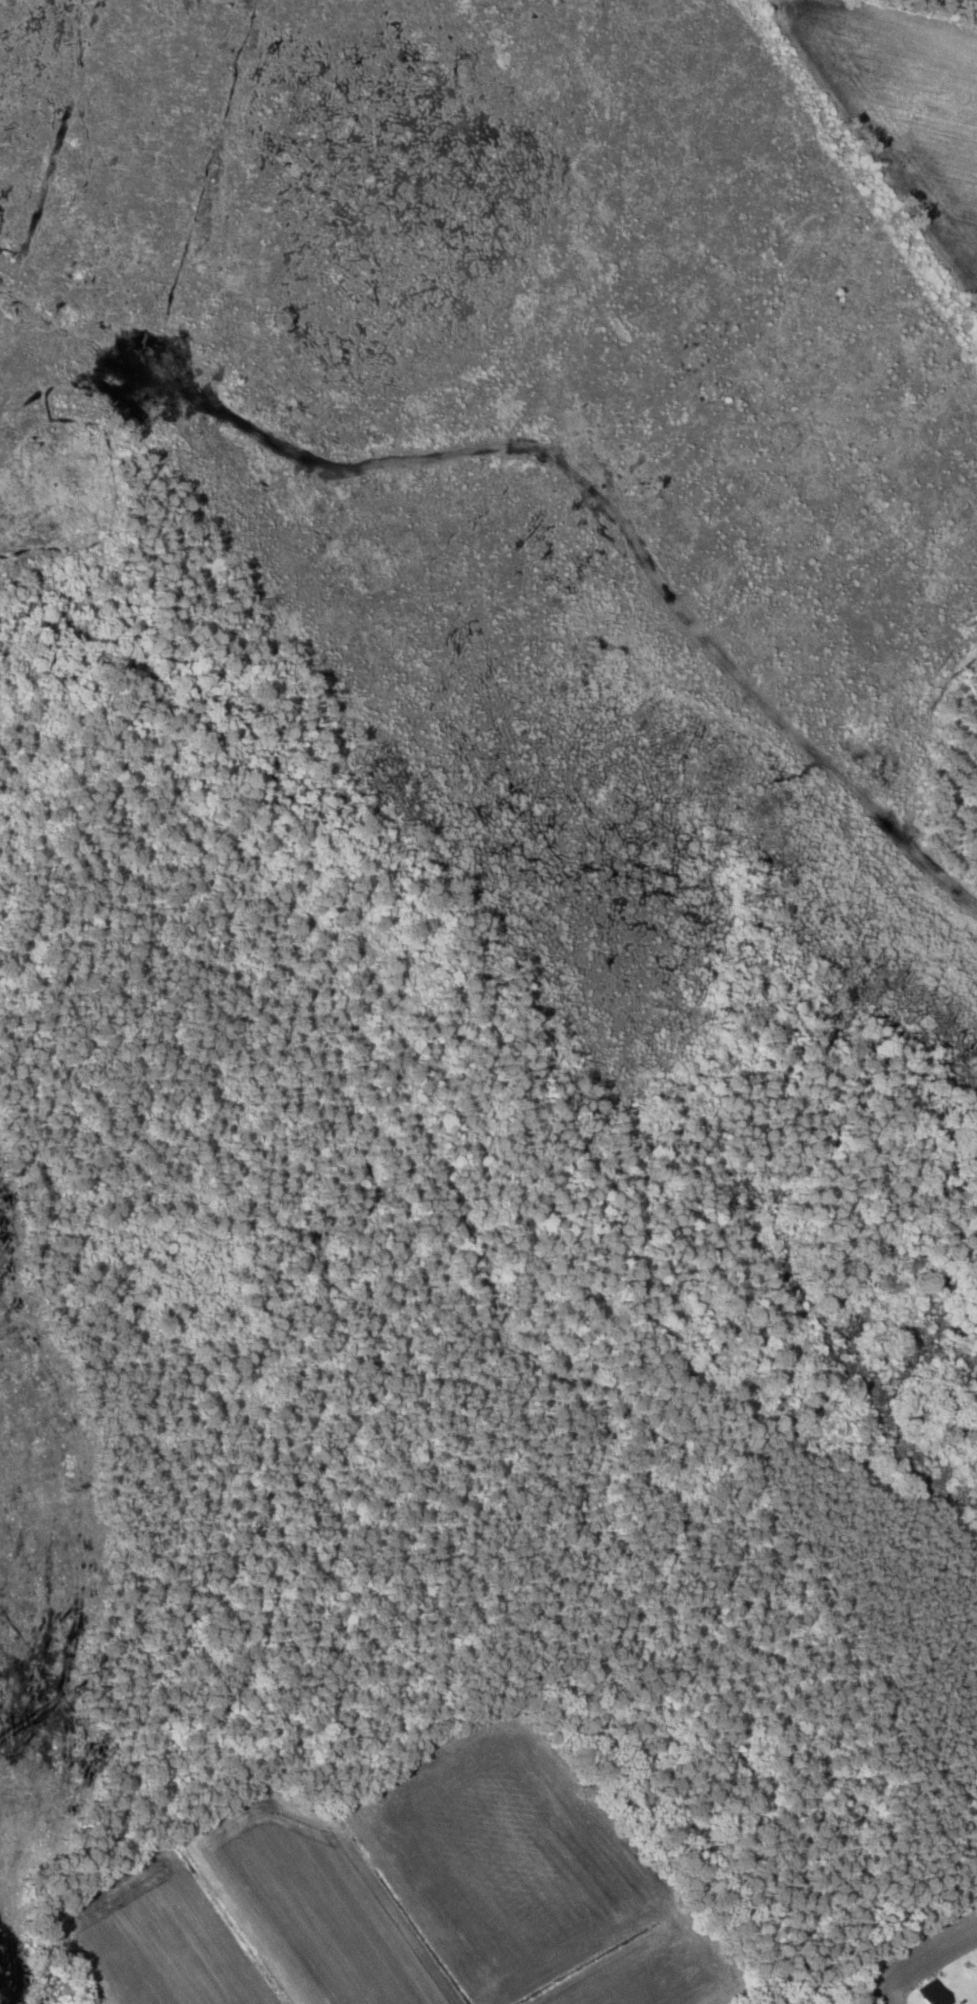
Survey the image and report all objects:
building: (934, 1992)

